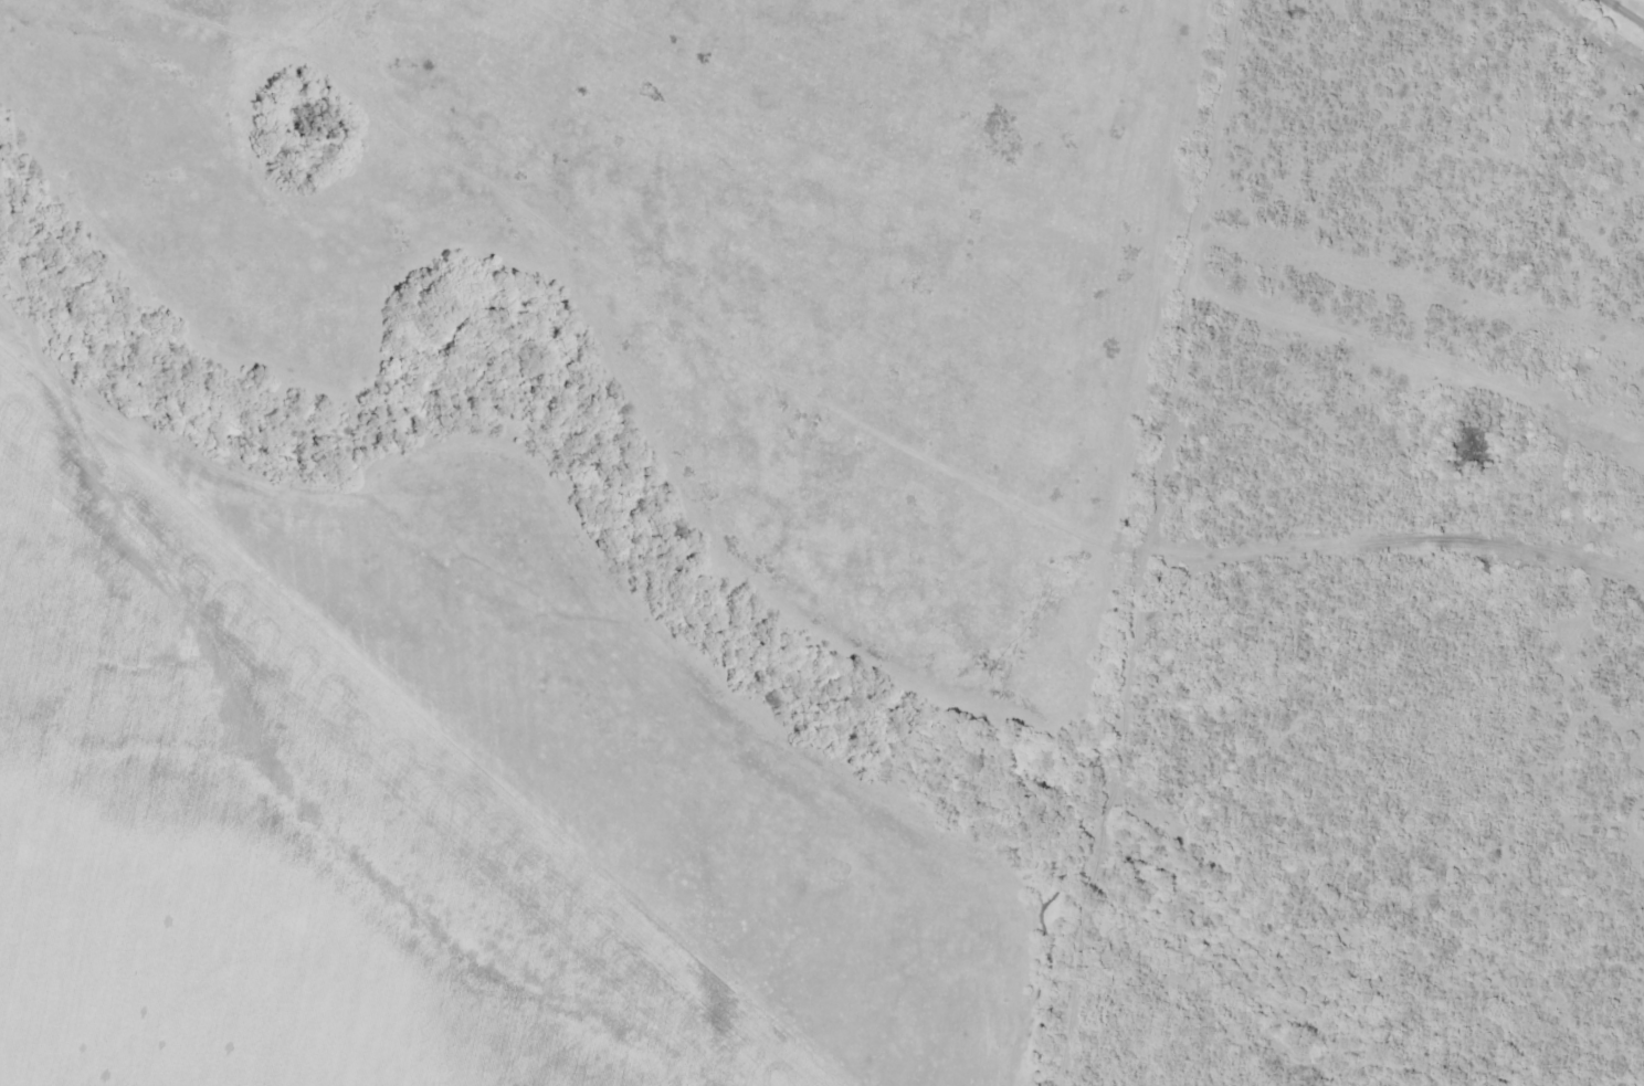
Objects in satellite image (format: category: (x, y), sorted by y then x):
road: (1626, 11)

